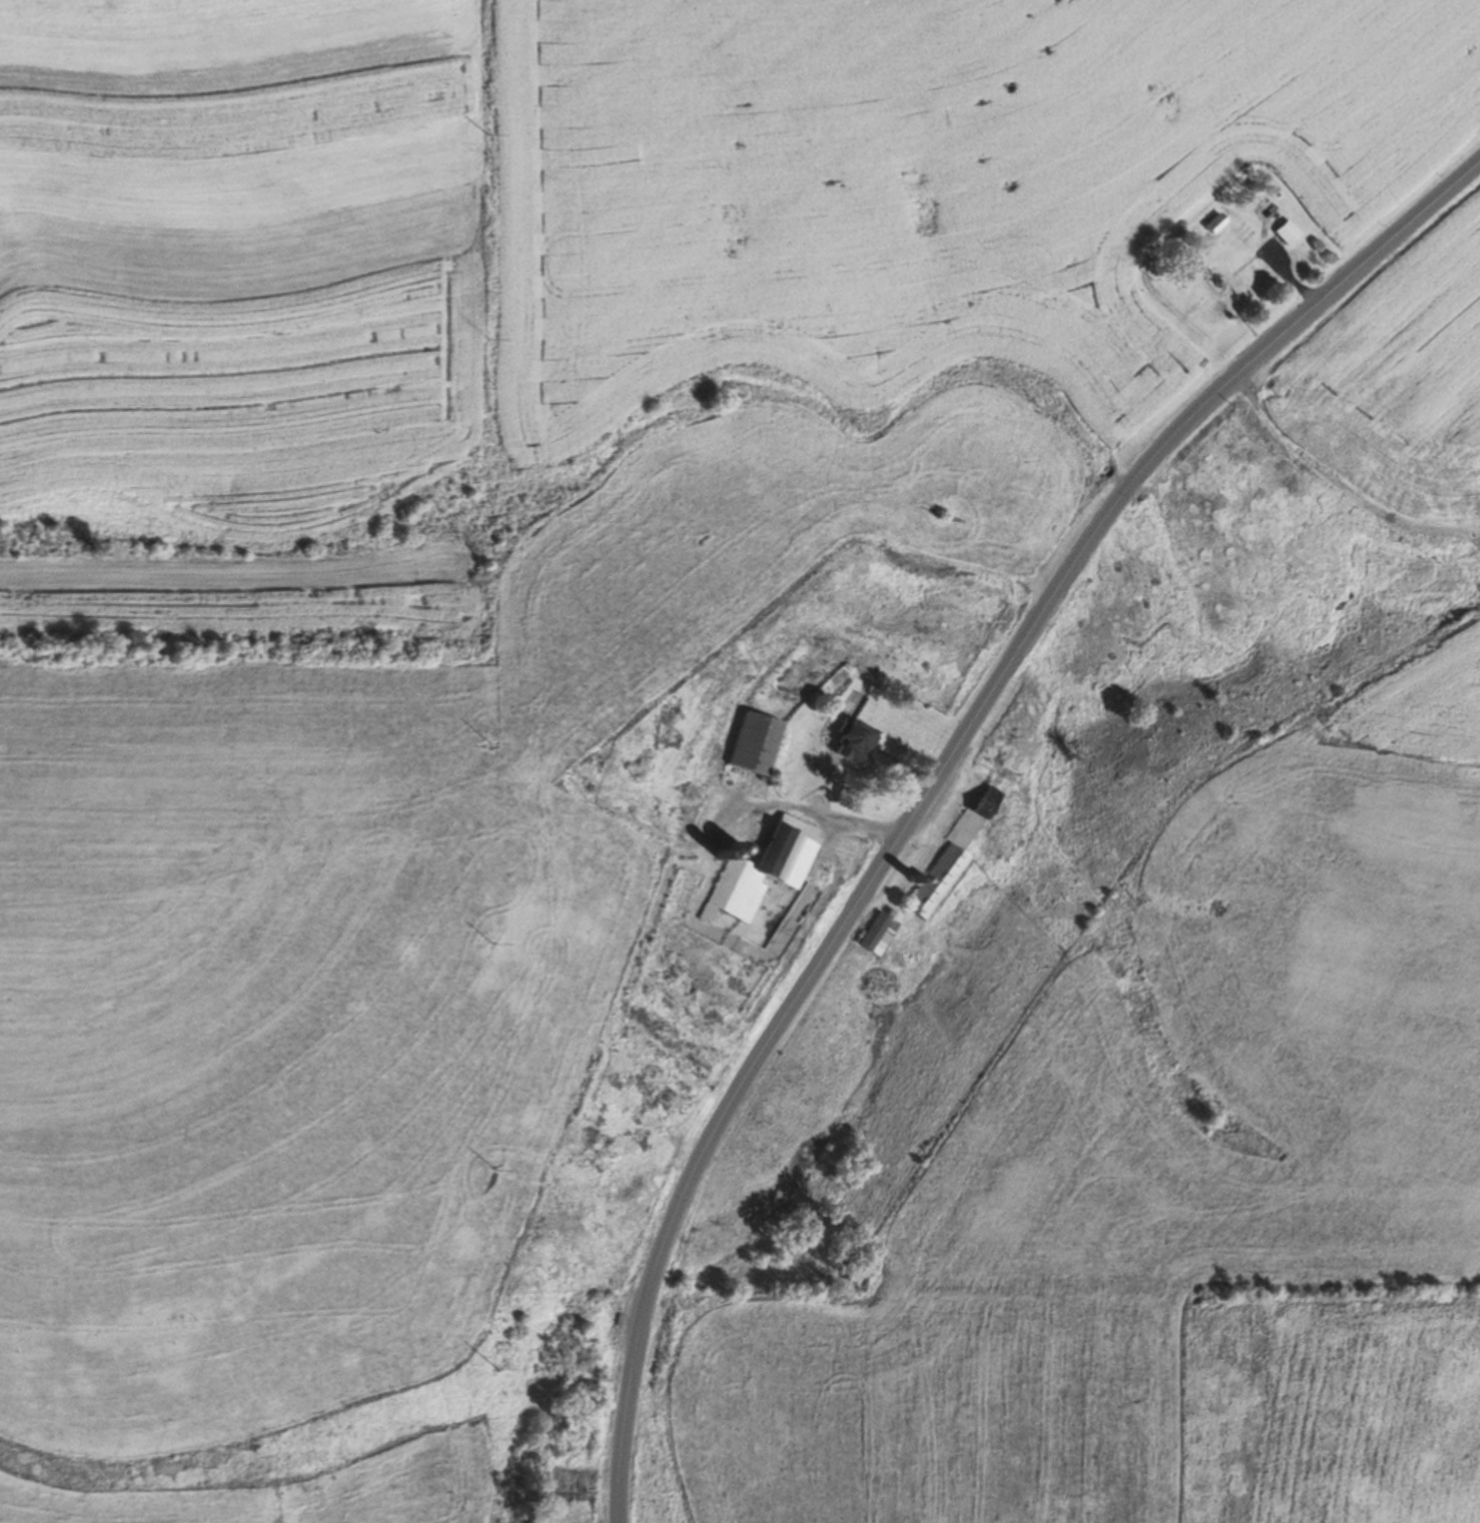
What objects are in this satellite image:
building: (1208, 223)
building: (1282, 232)
building: (1214, 284)
road: (475, 310)
building: (848, 741)
building: (751, 745)
road: (541, 768)
road: (936, 775)
road: (817, 815)
building: (943, 856)
building: (759, 870)
building: (870, 933)

